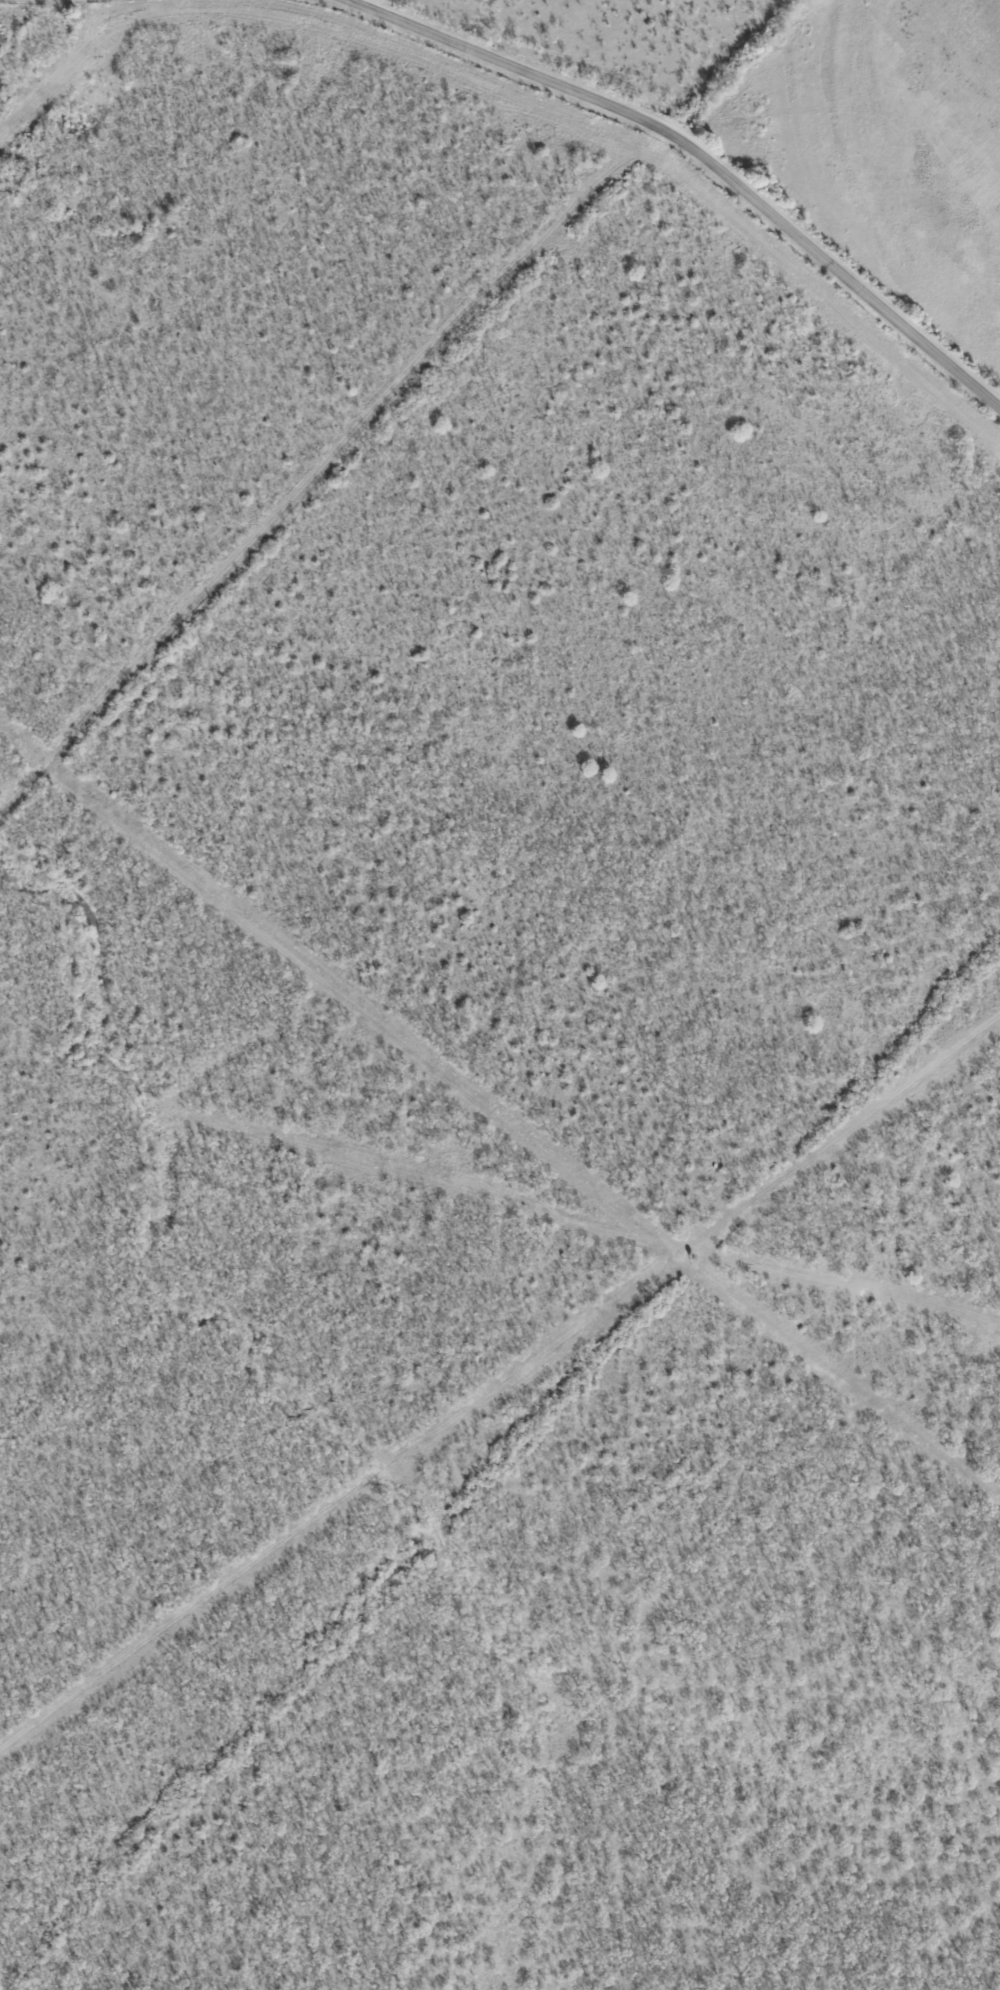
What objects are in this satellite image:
road: (703, 157)

